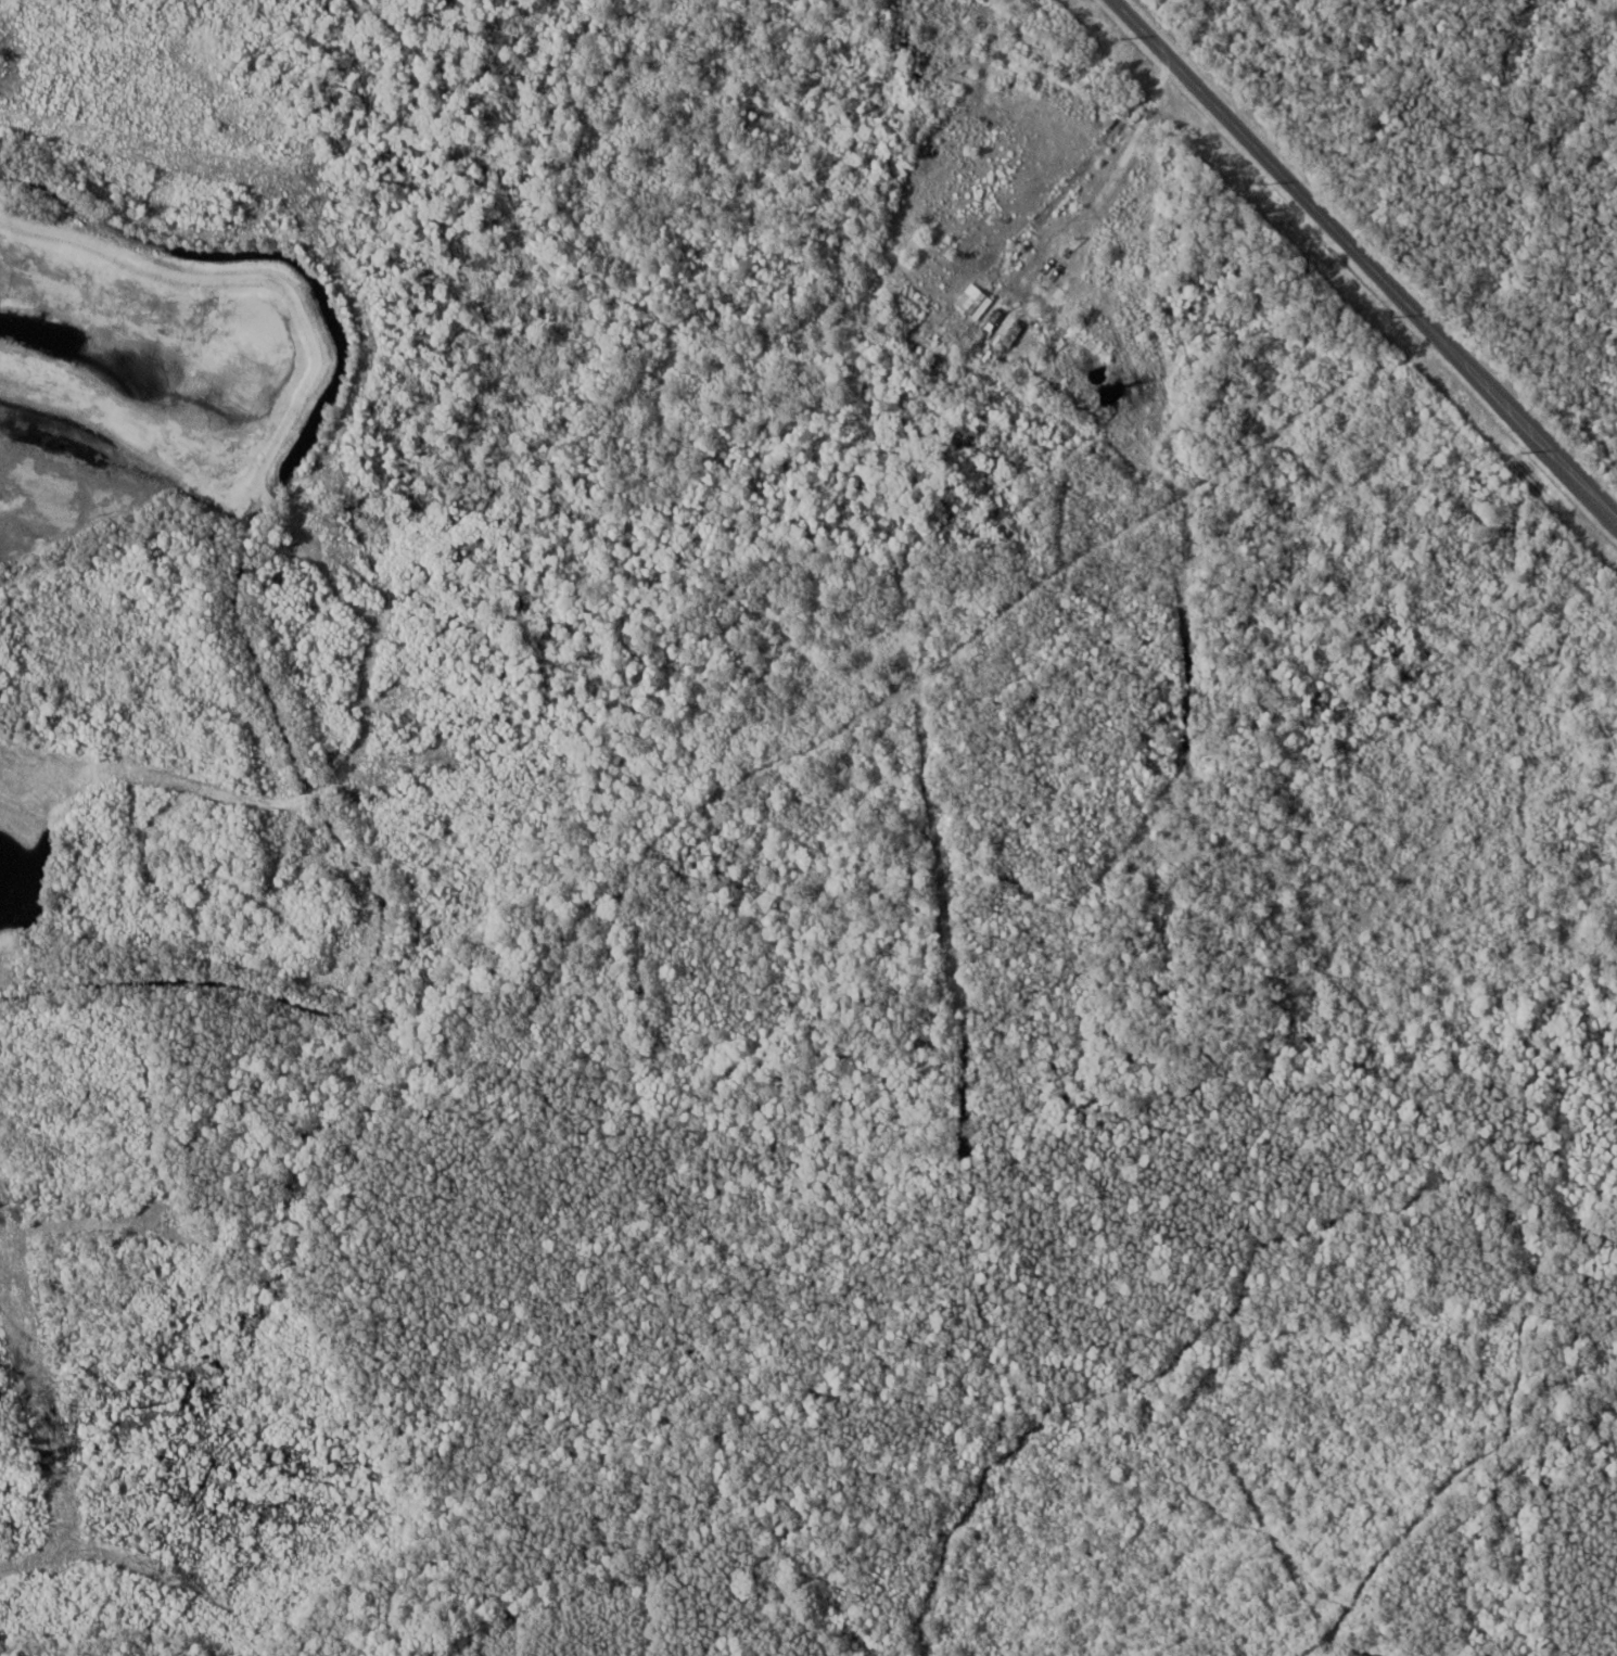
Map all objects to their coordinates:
road: (1231, 60)
road: (1366, 262)
building: (975, 301)

